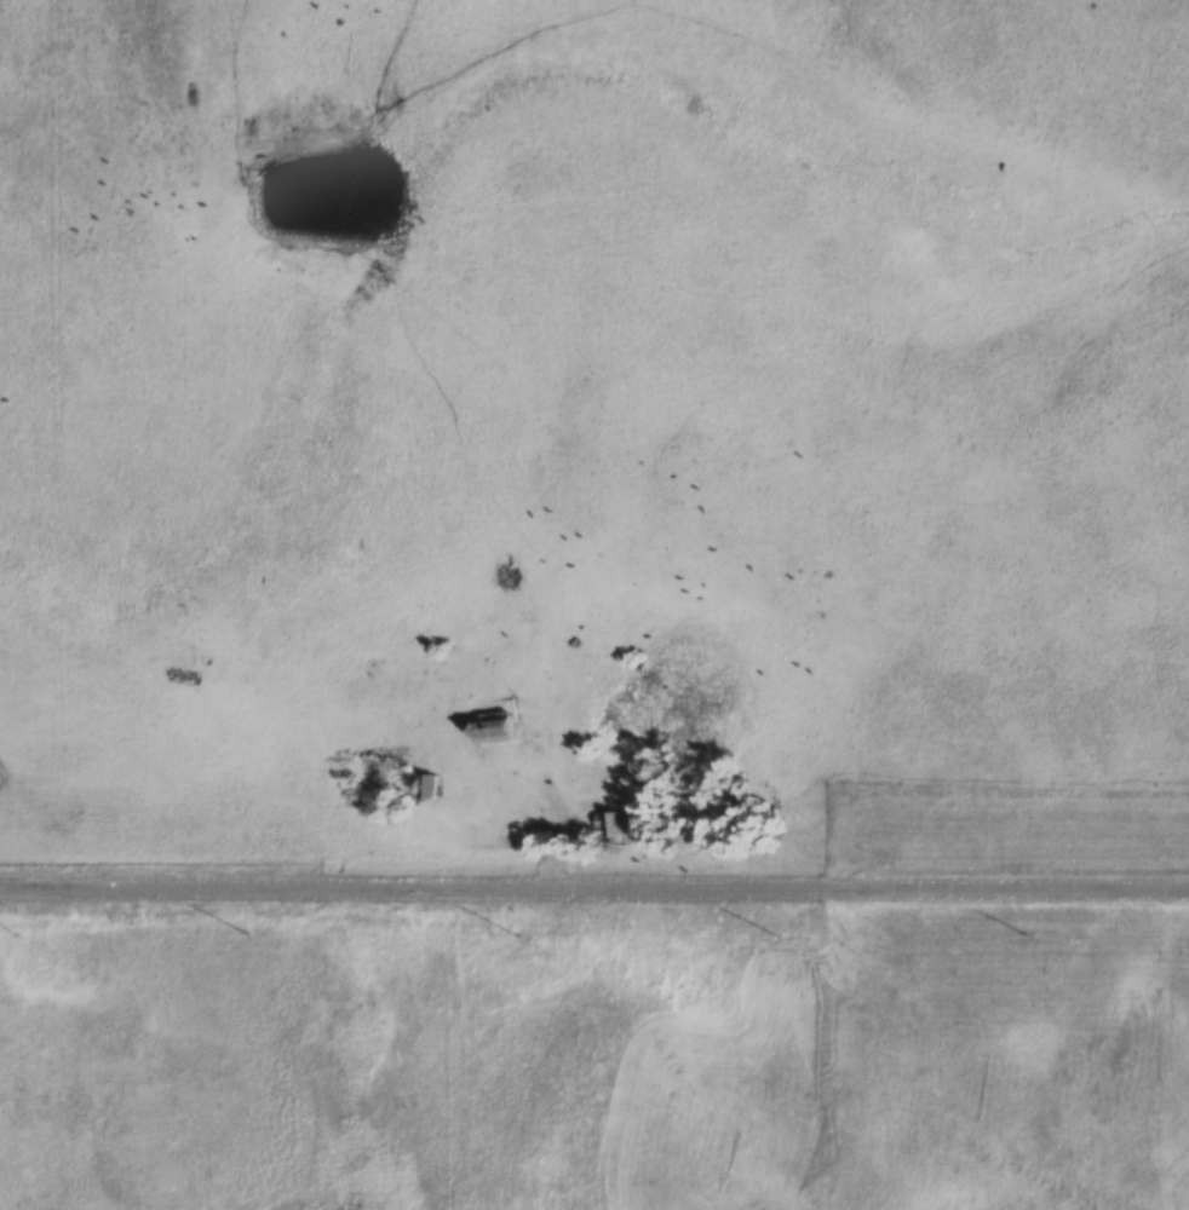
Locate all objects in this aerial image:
road: (594, 888)

